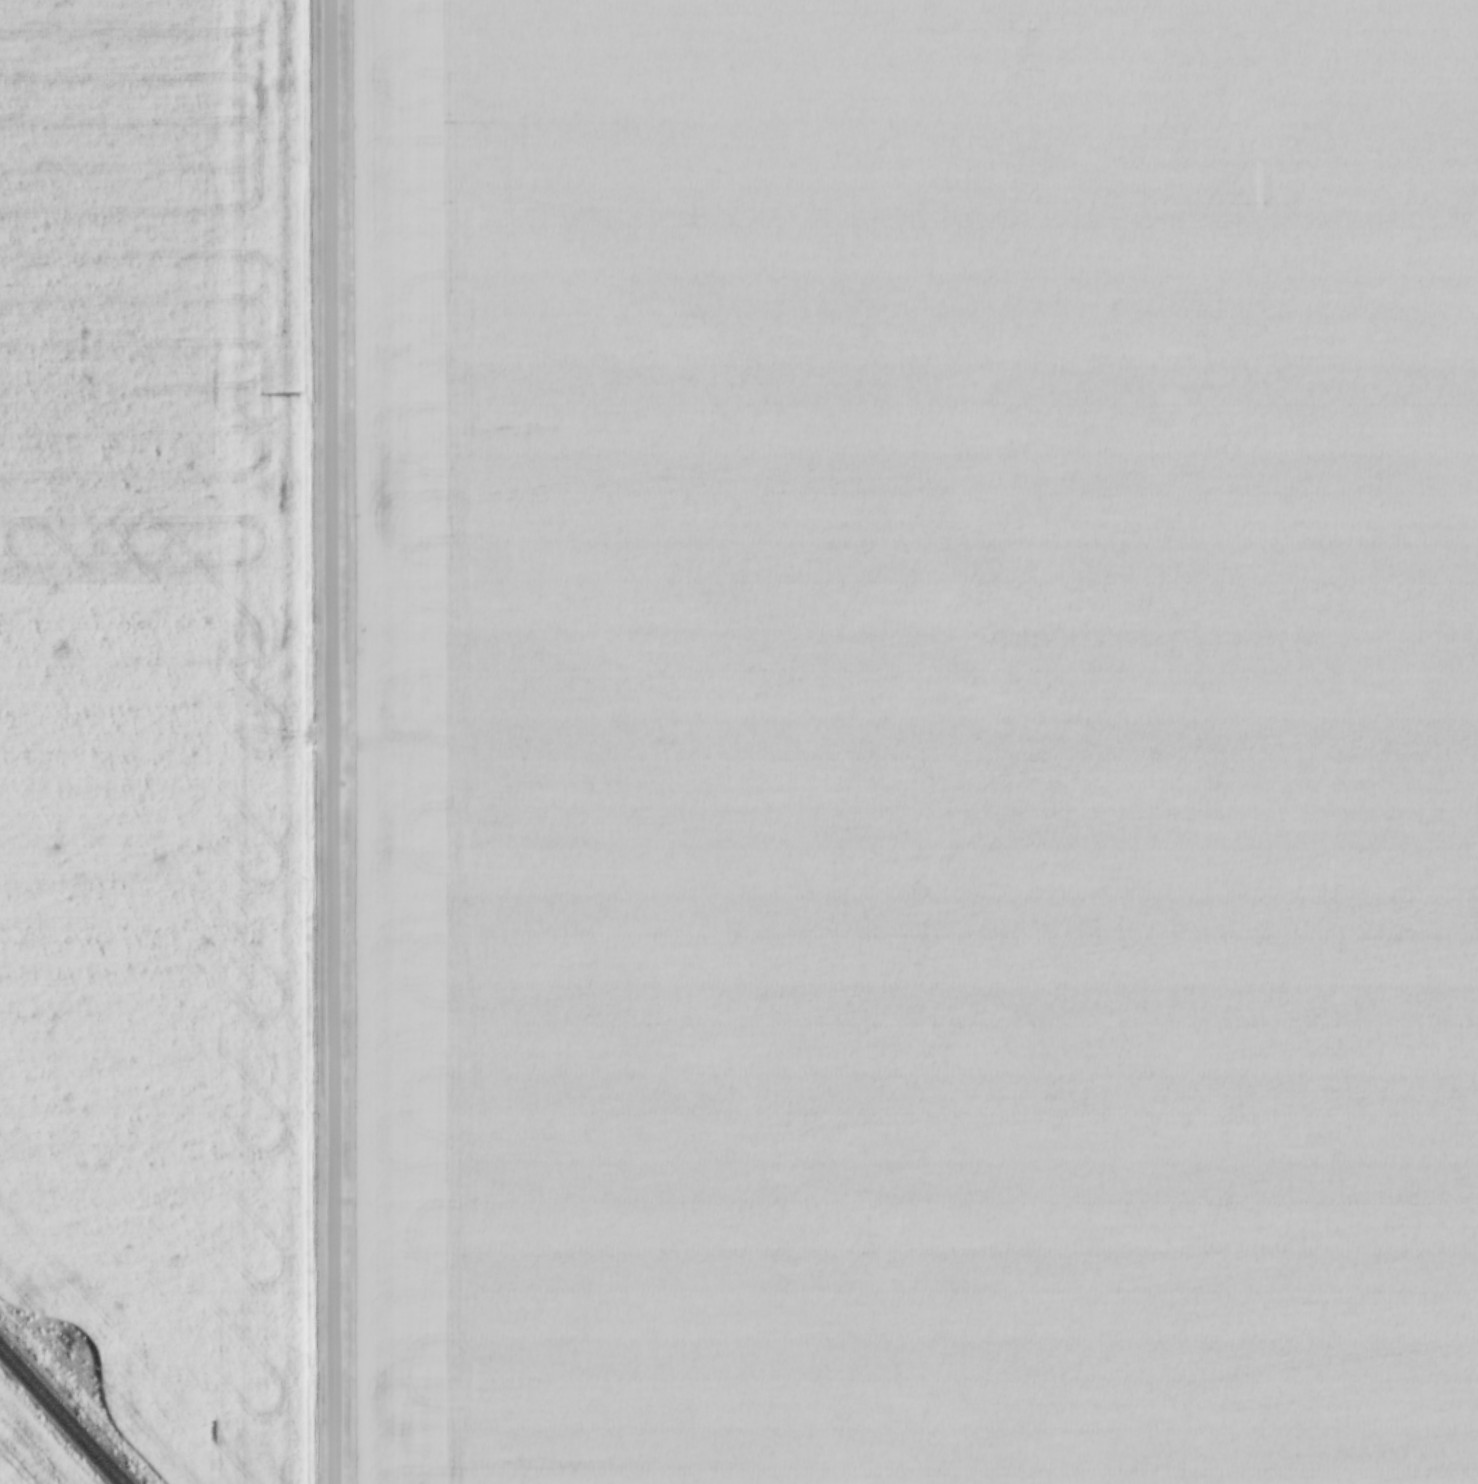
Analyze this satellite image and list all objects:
road: (337, 742)
railway: (58, 1418)

